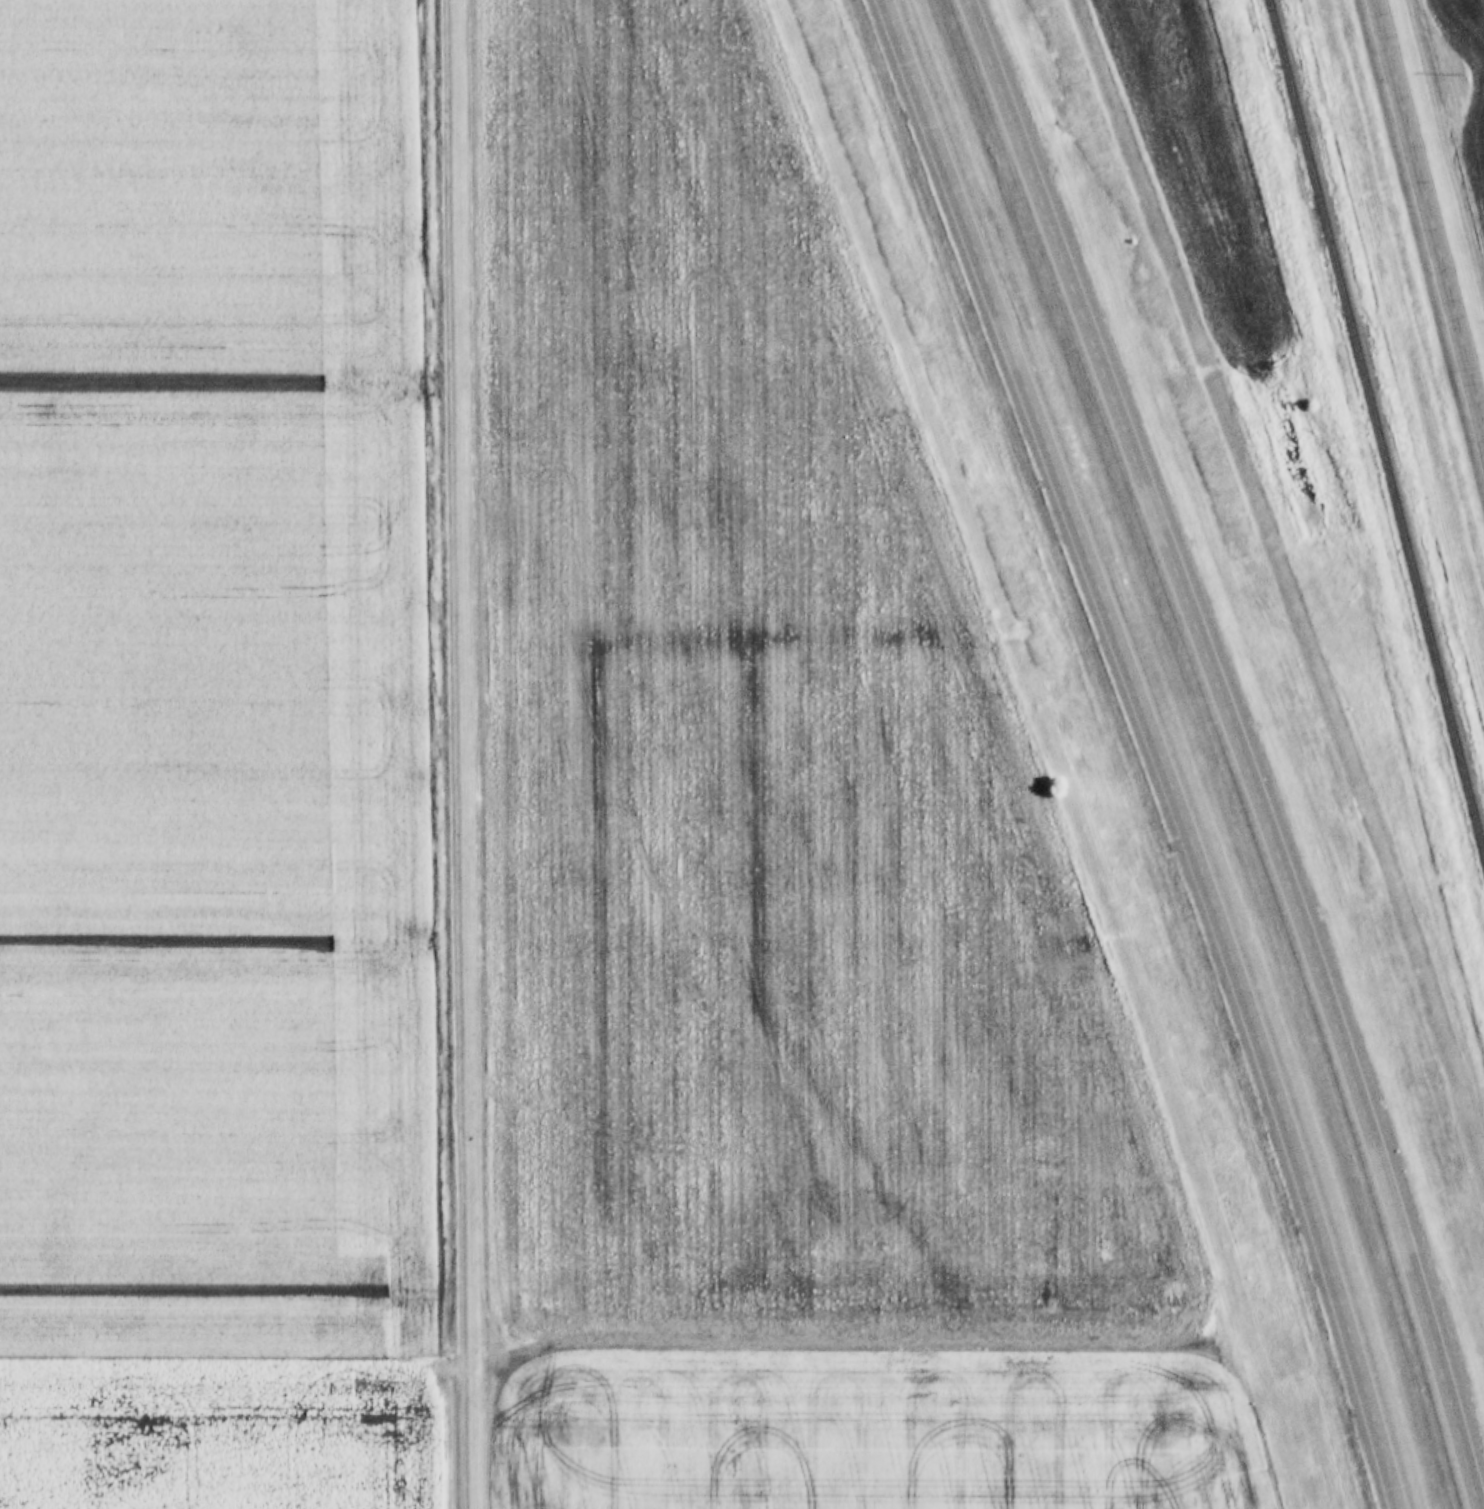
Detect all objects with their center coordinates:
crop: (1477, 128)
road: (1431, 214)
railway: (1376, 428)
crop: (209, 678)
road: (1242, 747)
road: (1156, 748)
road: (469, 754)
crop: (763, 776)
crop: (215, 1428)
crop: (873, 1432)

